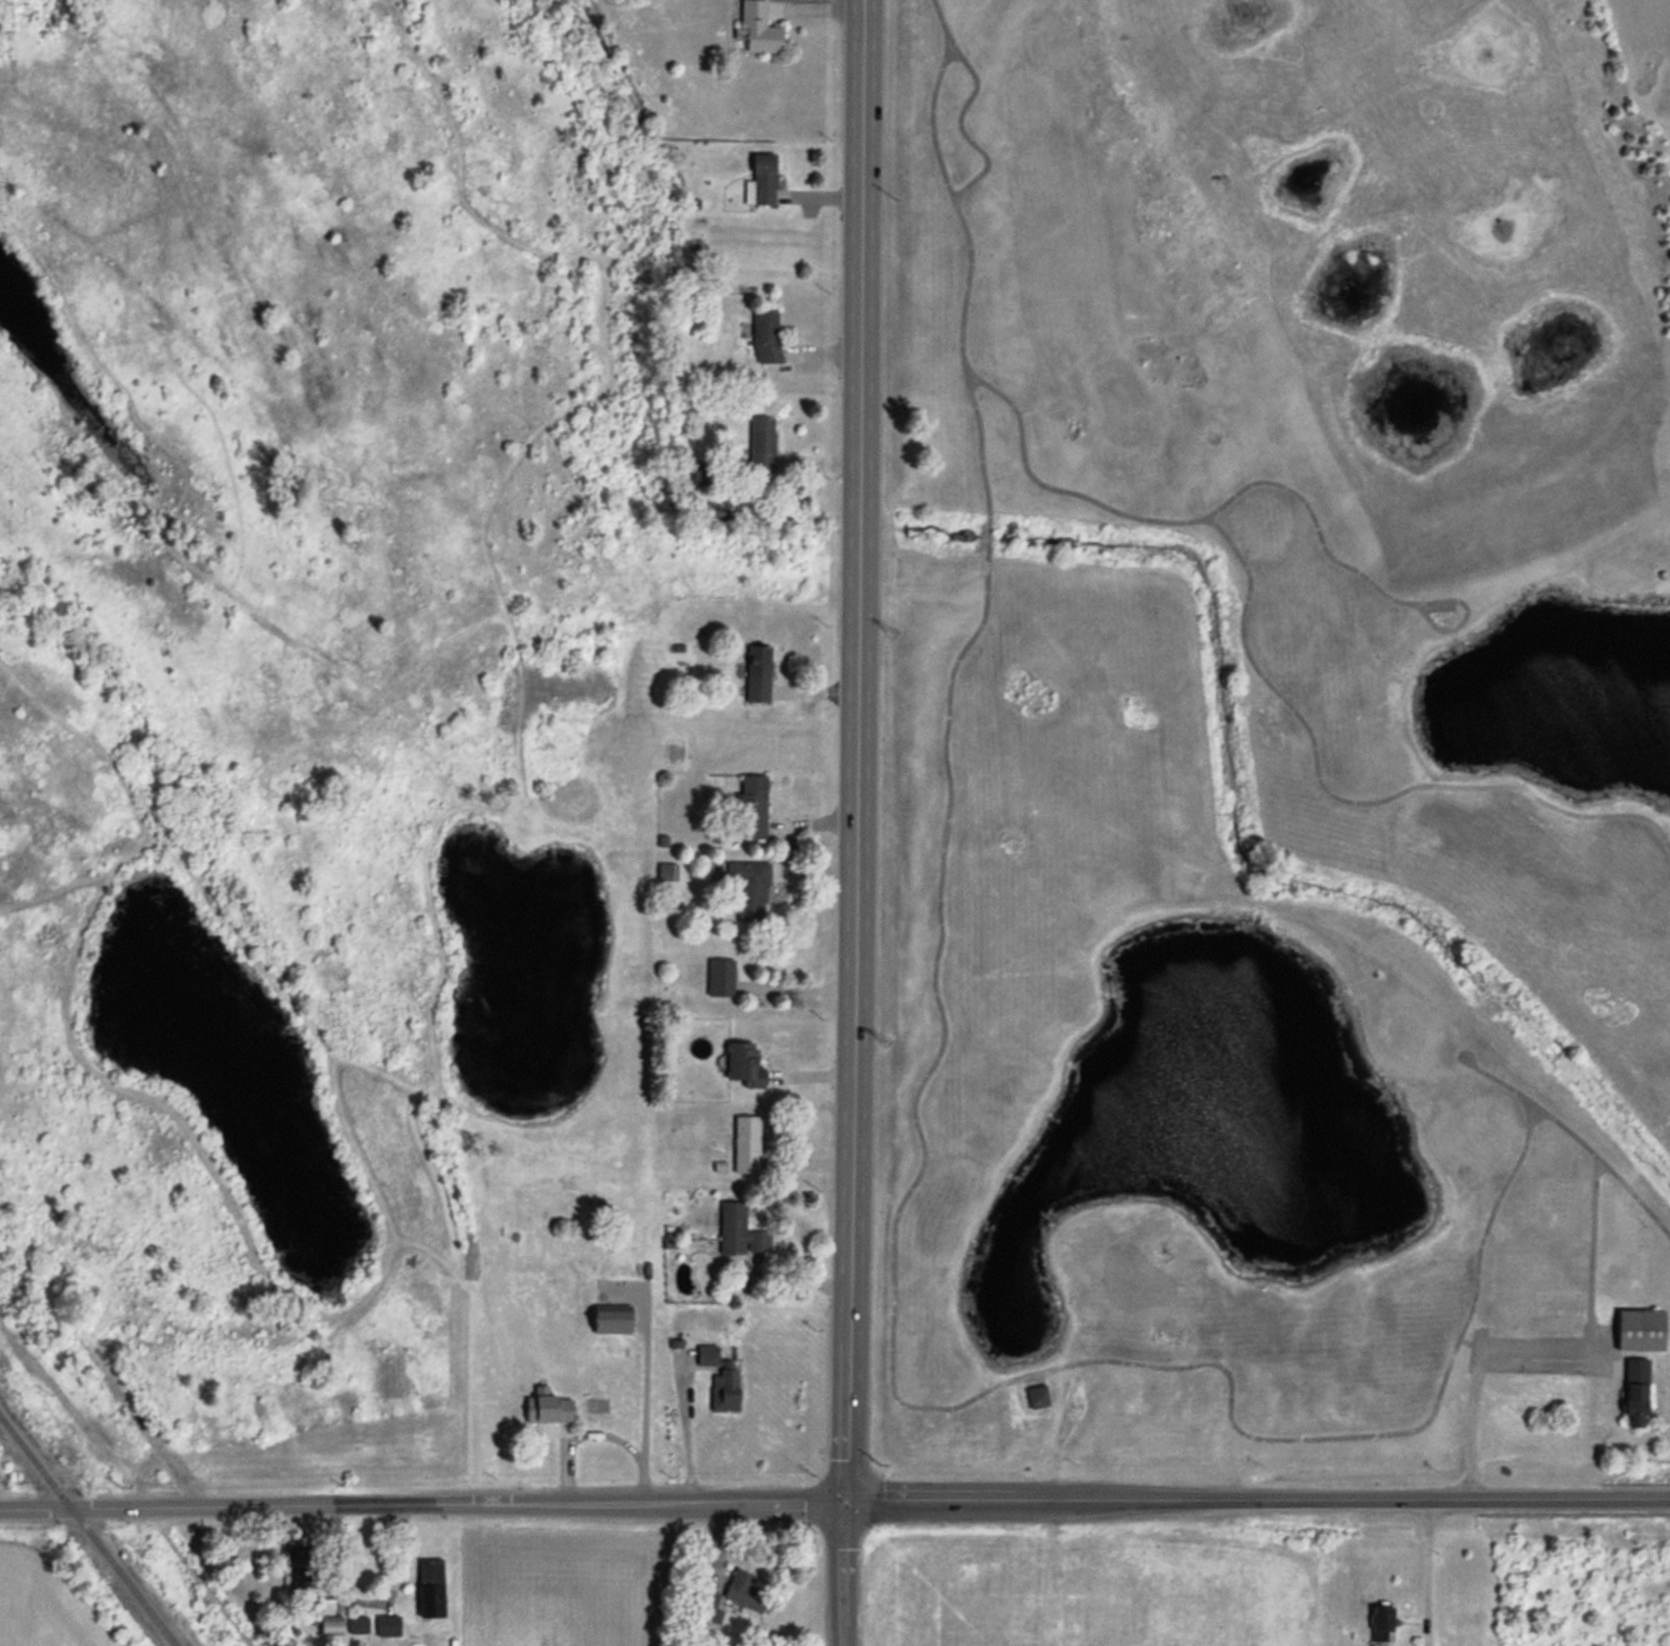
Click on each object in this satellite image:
building: (756, 27)
building: (760, 180)
power tower: (896, 201)
building: (765, 335)
building: (760, 443)
building: (700, 473)
power tower: (887, 636)
building: (756, 673)
road: (854, 750)
building: (749, 807)
building: (662, 840)
building: (664, 872)
building: (748, 887)
building: (719, 978)
power tower: (880, 1043)
building: (743, 1065)
building: (745, 1145)
building: (738, 1230)
building: (672, 1244)
building: (613, 1319)
building: (1638, 1331)
building: (675, 1343)
building: (706, 1355)
road: (104, 1370)
building: (723, 1389)
road: (644, 1394)
building: (1634, 1395)
building: (1038, 1398)
building: (547, 1407)
road: (685, 1431)
road: (625, 1444)
road: (566, 1467)
road: (1258, 1501)
road: (423, 1506)
railway: (87, 1532)
building: (301, 1567)
road: (846, 1574)
building: (429, 1588)
building: (744, 1591)
building: (706, 1607)
building: (1381, 1625)
building: (357, 1626)
building: (331, 1627)
building: (387, 1627)

